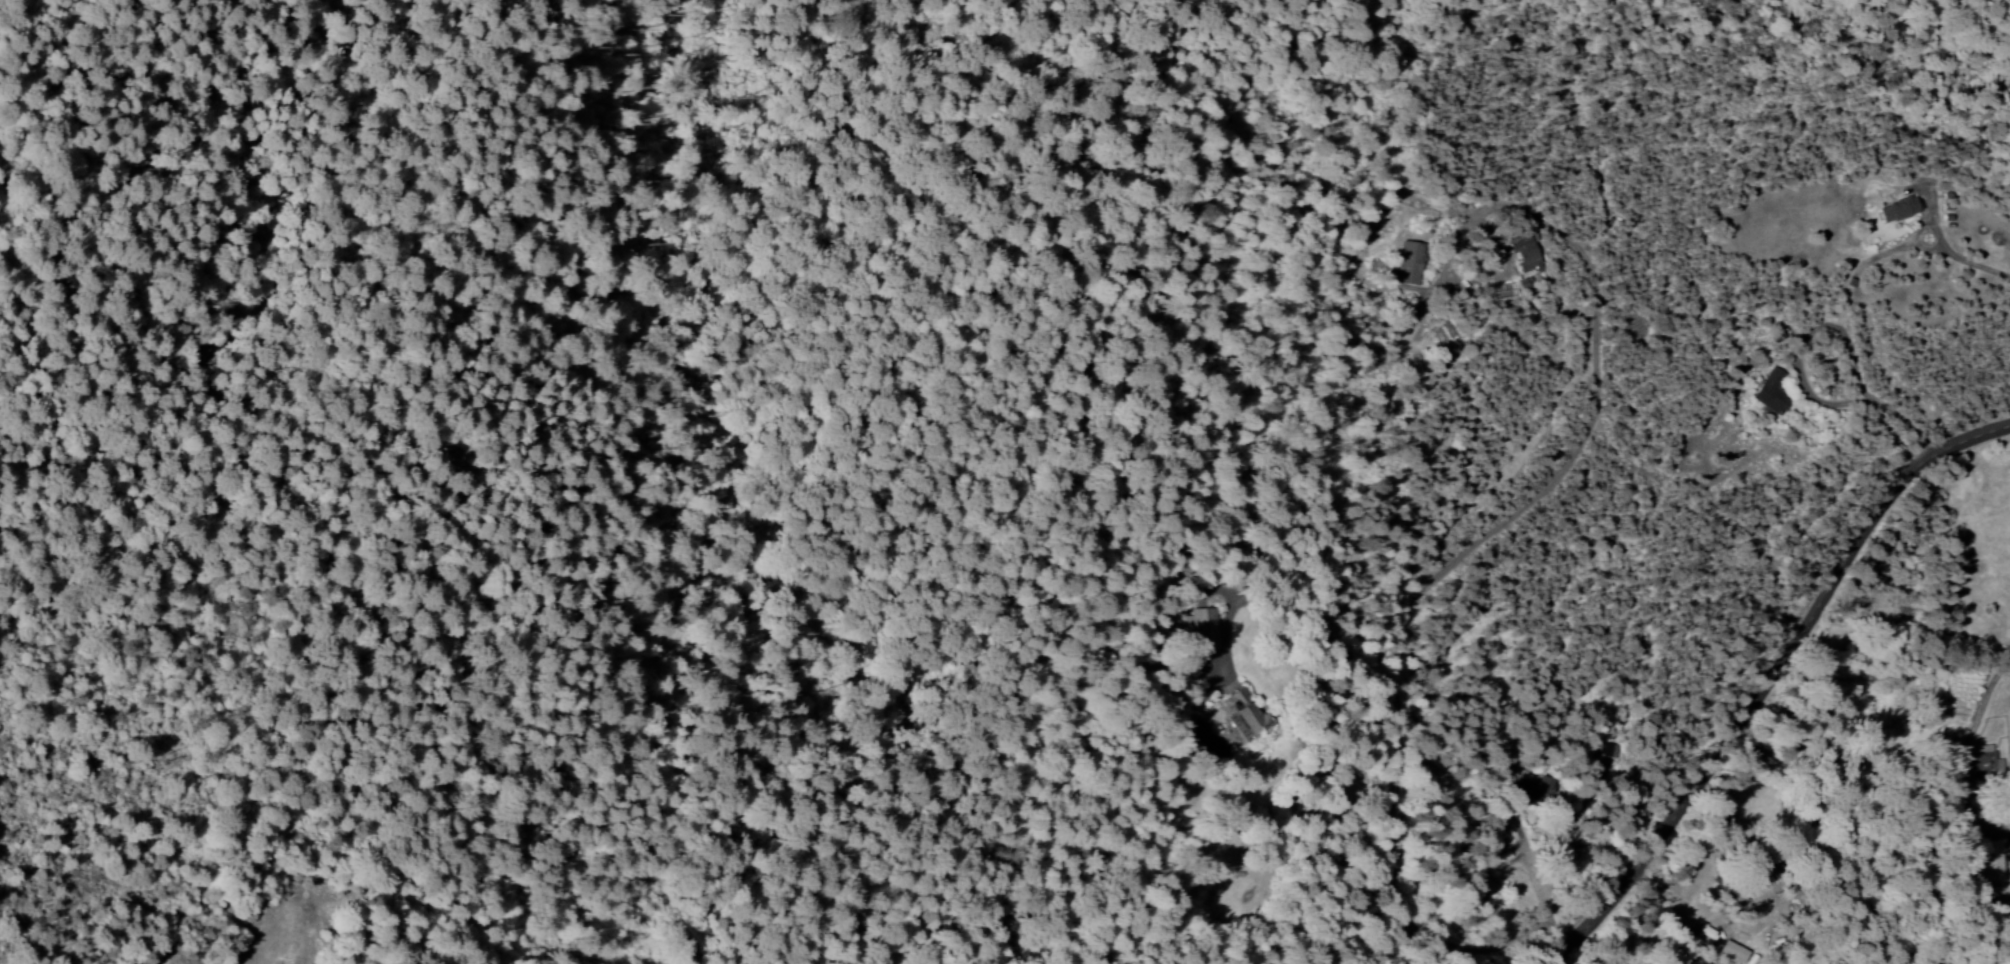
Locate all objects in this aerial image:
building: (1897, 209)
building: (1524, 252)
building: (1409, 262)
building: (1770, 391)
building: (1203, 629)
road: (1770, 677)
building: (1245, 713)
building: (1603, 753)
building: (1989, 762)
building: (1531, 789)
building: (1999, 860)
building: (1735, 951)

